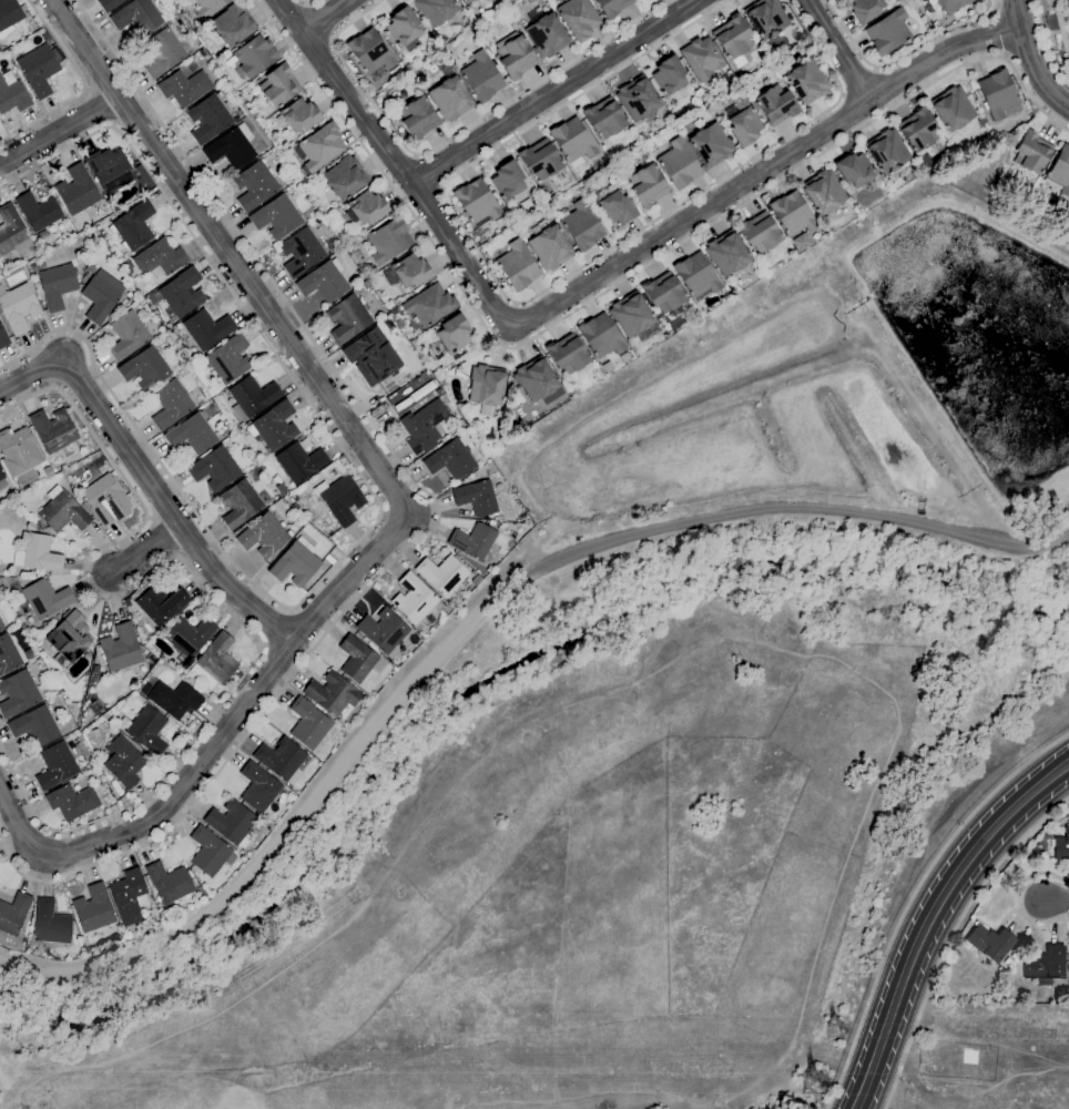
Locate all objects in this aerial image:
building: (483, 0)
building: (485, 0)
road: (306, 1)
building: (466, 2)
building: (1068, 3)
building: (109, 4)
building: (947, 4)
building: (207, 7)
building: (611, 7)
building: (864, 9)
building: (434, 10)
building: (937, 14)
building: (9, 16)
road: (325, 16)
building: (136, 17)
building: (578, 18)
building: (765, 18)
road: (319, 21)
building: (233, 24)
road: (1061, 24)
building: (401, 28)
building: (887, 32)
road: (999, 32)
park: (1057, 32)
building: (544, 33)
building: (733, 39)
road: (1047, 42)
road: (1068, 43)
road: (837, 49)
building: (163, 52)
building: (202, 52)
building: (370, 54)
building: (255, 55)
road: (902, 55)
road: (1032, 57)
building: (515, 58)
building: (701, 59)
building: (40, 68)
building: (418, 75)
building: (668, 75)
building: (8, 77)
building: (480, 77)
road: (858, 81)
building: (806, 82)
road: (83, 85)
building: (277, 85)
building: (183, 87)
road: (346, 90)
road: (556, 90)
road: (584, 92)
building: (998, 95)
building: (13, 96)
building: (449, 99)
building: (637, 99)
building: (775, 105)
building: (953, 111)
building: (299, 115)
building: (208, 118)
building: (416, 119)
building: (604, 120)
building: (743, 126)
building: (917, 130)
road: (59, 131)
road: (455, 134)
building: (1010, 135)
building: (572, 142)
building: (710, 145)
building: (960, 145)
building: (232, 146)
building: (319, 146)
building: (885, 151)
building: (1030, 155)
building: (539, 160)
building: (678, 164)
building: (853, 170)
building: (110, 171)
road: (428, 171)
building: (1059, 172)
road: (727, 174)
building: (344, 176)
building: (507, 180)
building: (147, 182)
building: (255, 185)
building: (647, 185)
building: (77, 191)
building: (541, 193)
building: (823, 194)
building: (476, 202)
building: (114, 207)
road: (221, 207)
building: (366, 207)
building: (614, 208)
building: (38, 211)
building: (108, 211)
building: (792, 214)
building: (277, 215)
road: (685, 217)
building: (580, 225)
building: (133, 226)
building: (12, 232)
building: (759, 233)
building: (387, 240)
building: (800, 241)
building: (330, 243)
building: (548, 246)
road: (474, 248)
building: (301, 252)
building: (726, 255)
road: (227, 256)
building: (160, 258)
building: (128, 265)
building: (517, 266)
building: (90, 267)
building: (407, 272)
building: (696, 276)
building: (324, 279)
building: (55, 283)
road: (614, 286)
building: (360, 287)
building: (180, 293)
building: (664, 294)
building: (101, 295)
building: (429, 304)
building: (18, 307)
building: (393, 311)
building: (632, 317)
building: (347, 318)
building: (206, 328)
building: (128, 335)
building: (451, 335)
building: (600, 336)
building: (3, 338)
building: (568, 355)
building: (371, 356)
building: (624, 356)
building: (228, 358)
building: (417, 367)
building: (605, 367)
building: (144, 368)
building: (186, 376)
building: (415, 380)
building: (537, 380)
building: (441, 381)
building: (486, 388)
building: (439, 390)
building: (252, 396)
building: (170, 404)
building: (425, 425)
building: (274, 426)
building: (53, 429)
building: (192, 433)
building: (307, 446)
building: (18, 451)
building: (450, 458)
building: (299, 461)
building: (262, 466)
building: (214, 468)
building: (47, 471)
building: (2, 479)
road: (147, 479)
building: (281, 488)
building: (339, 498)
building: (476, 498)
building: (295, 499)
building: (105, 500)
road: (378, 501)
building: (241, 502)
building: (63, 510)
building: (26, 520)
building: (491, 522)
building: (98, 529)
building: (263, 535)
building: (472, 540)
road: (146, 551)
building: (37, 553)
building: (329, 559)
building: (295, 564)
building: (442, 574)
building: (475, 580)
road: (203, 586)
building: (45, 598)
building: (417, 599)
building: (161, 604)
road: (477, 615)
building: (1, 625)
road: (276, 627)
building: (384, 629)
building: (70, 637)
building: (189, 637)
building: (121, 649)
building: (8, 654)
building: (357, 658)
building: (214, 662)
building: (95, 670)
road: (634, 684)
building: (18, 693)
building: (334, 694)
building: (174, 699)
road: (274, 700)
road: (241, 706)
building: (309, 723)
building: (34, 725)
building: (146, 730)
building: (282, 759)
building: (123, 762)
building: (55, 765)
building: (80, 784)
building: (258, 787)
building: (72, 801)
building: (113, 808)
building: (232, 823)
road: (20, 824)
building: (1061, 844)
building: (210, 852)
building: (170, 883)
building: (130, 894)
road: (913, 898)
road: (1057, 898)
road: (1016, 899)
building: (94, 908)
building: (14, 913)
road: (930, 918)
building: (51, 923)
building: (128, 935)
road: (951, 937)
building: (987, 944)
building: (1019, 960)
building: (1008, 962)
building: (1045, 965)
power tower: (838, 1026)
power tower: (818, 1079)
road: (608, 1100)

